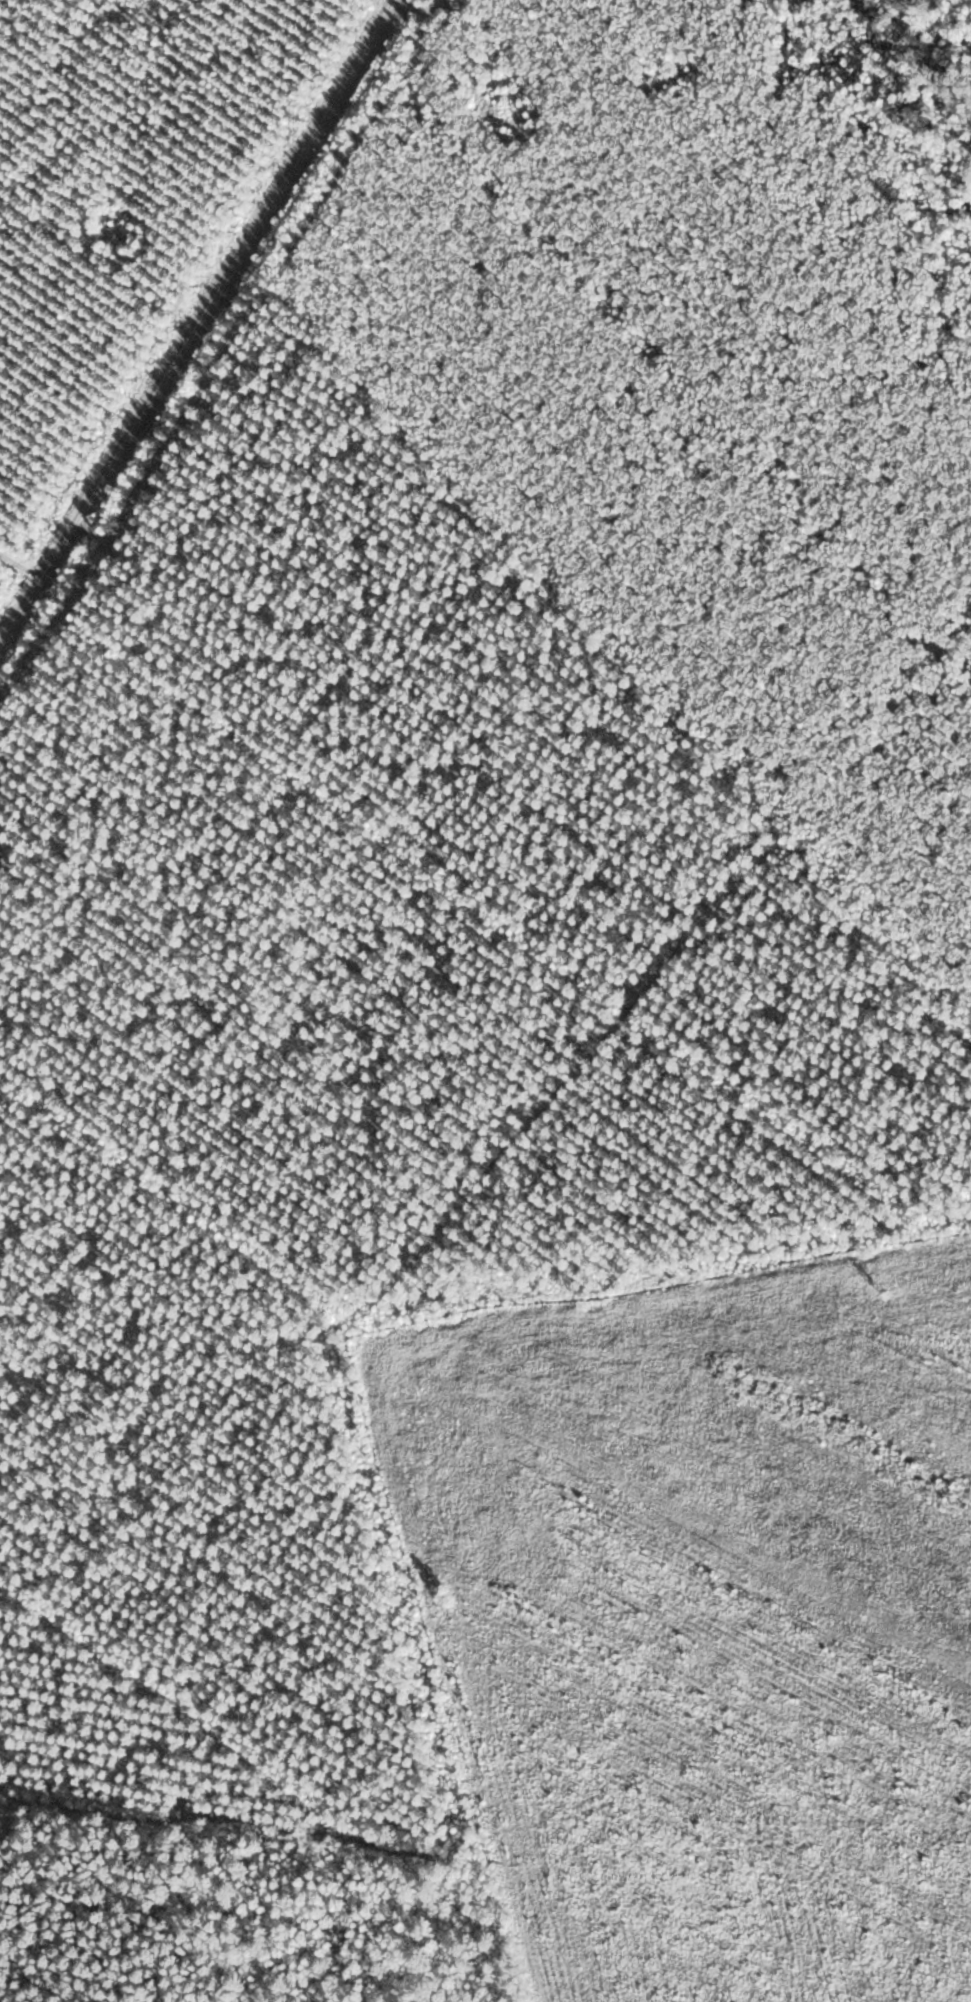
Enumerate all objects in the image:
road: (200, 324)

